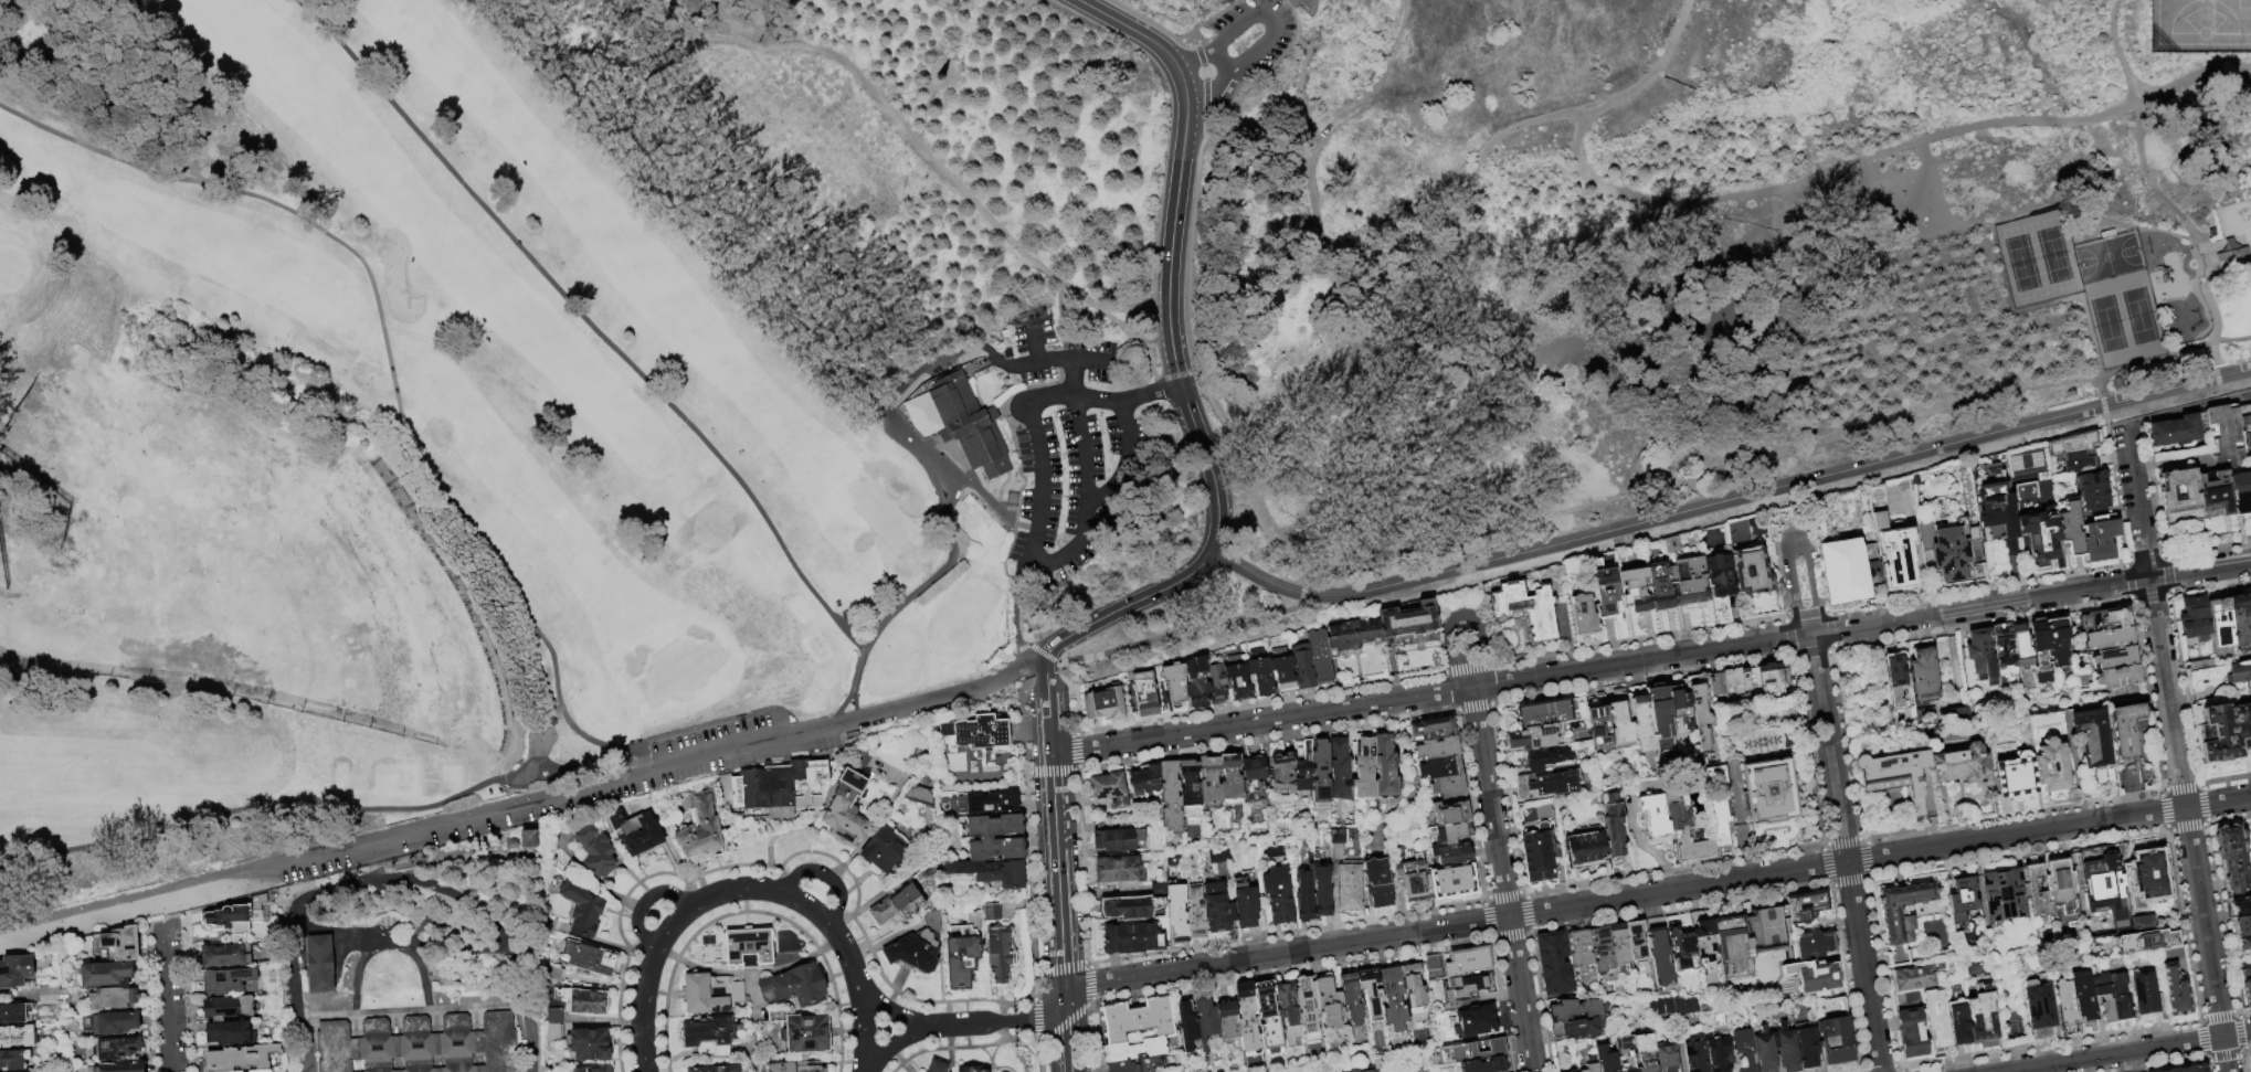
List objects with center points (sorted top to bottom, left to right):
road: (1269, 19)
park: (2200, 26)
road: (1129, 29)
parking lot: (1248, 44)
road: (2115, 51)
road: (1194, 55)
road: (1223, 57)
road: (1383, 65)
road: (1652, 72)
road: (1182, 84)
road: (2192, 84)
road: (1211, 89)
road: (1322, 109)
road: (923, 110)
road: (1308, 120)
road: (911, 136)
park: (2250, 139)
road: (2138, 147)
road: (1828, 170)
road: (1460, 210)
road: (1317, 229)
road: (676, 230)
road: (2170, 234)
road: (807, 235)
building: (2212, 236)
building: (2232, 256)
park: (2038, 258)
park: (2107, 258)
park: (9, 269)
road: (2206, 275)
road: (2074, 298)
road: (1057, 312)
park: (2238, 315)
park: (2124, 317)
road: (584, 321)
road: (1066, 351)
road: (950, 352)
park: (966, 355)
road: (1085, 361)
road: (1037, 362)
road: (1176, 376)
road: (1070, 379)
road: (1155, 386)
road: (2229, 399)
road: (1127, 401)
road: (1051, 404)
road: (1283, 410)
building: (921, 414)
road: (2165, 414)
road: (1219, 415)
building: (2244, 416)
road: (1193, 427)
building: (972, 428)
road: (1124, 429)
building: (2226, 429)
building: (2179, 431)
road: (403, 439)
building: (2071, 445)
building: (2249, 445)
road: (916, 449)
parking lot: (1071, 449)
road: (1777, 449)
park: (392, 450)
road: (1385, 459)
road: (1042, 486)
road: (1117, 488)
building: (2240, 491)
building: (2092, 492)
building: (2215, 492)
building: (2178, 496)
road: (1730, 500)
road: (1091, 502)
building: (1996, 517)
park: (880, 519)
road: (1262, 523)
building: (2067, 526)
building: (1991, 532)
building: (1740, 534)
building: (2038, 535)
building: (2099, 539)
road: (1795, 543)
road: (950, 550)
building: (1944, 551)
building: (1893, 555)
building: (1868, 564)
building: (1753, 572)
building: (1687, 575)
building: (1720, 575)
building: (1840, 575)
road: (1307, 576)
building: (1660, 586)
building: (1636, 590)
building: (1605, 591)
road: (1302, 596)
building: (1526, 608)
road: (1015, 611)
road: (1458, 615)
building: (1584, 616)
building: (2194, 618)
building: (2241, 618)
building: (2220, 619)
building: (2105, 620)
road: (1861, 625)
building: (1409, 626)
road: (479, 633)
road: (1171, 636)
building: (1352, 636)
building: (2110, 639)
building: (2058, 641)
road: (1031, 646)
building: (2021, 649)
building: (2040, 652)
building: (2004, 654)
building: (1981, 656)
building: (1319, 658)
building: (2113, 659)
road: (1046, 660)
building: (2200, 665)
building: (1301, 667)
building: (1281, 671)
building: (2240, 671)
building: (1259, 673)
building: (1924, 676)
building: (1772, 677)
building: (1236, 678)
building: (2116, 678)
building: (1899, 681)
building: (1196, 682)
building: (1173, 683)
building: (1215, 683)
building: (1730, 683)
building: (1143, 694)
building: (2249, 702)
road: (853, 704)
building: (1103, 704)
road: (838, 708)
road: (1047, 710)
building: (1681, 710)
building: (1660, 711)
building: (1552, 713)
building: (1701, 717)
road: (1260, 722)
building: (1600, 729)
building: (1635, 729)
building: (2125, 729)
building: (1431, 730)
building: (2223, 732)
building: (977, 734)
building: (2090, 736)
building: (1535, 737)
building: (1436, 749)
road: (2175, 749)
building: (2049, 754)
building: (1546, 758)
building: (1365, 766)
building: (1961, 766)
building: (1303, 767)
building: (1339, 768)
building: (1439, 768)
road: (647, 769)
building: (1386, 769)
building: (1320, 773)
road: (571, 774)
building: (1894, 775)
building: (2015, 777)
building: (1254, 778)
building: (1283, 778)
building: (2131, 778)
building: (1145, 779)
building: (1229, 779)
building: (1188, 784)
building: (1209, 784)
building: (1549, 785)
building: (1447, 786)
building: (781, 787)
building: (1107, 788)
building: (1768, 792)
building: (1170, 797)
building: (848, 802)
road: (246, 808)
building: (1719, 810)
building: (1447, 814)
building: (1653, 816)
building: (700, 826)
building: (1613, 826)
building: (636, 830)
building: (1449, 834)
building: (1687, 834)
building: (1335, 836)
building: (526, 838)
building: (1015, 838)
building: (1119, 840)
building: (1586, 846)
building: (883, 849)
building: (595, 850)
road: (1845, 852)
building: (1452, 855)
building: (1540, 855)
building: (2232, 860)
building: (1118, 870)
building: (991, 871)
road: (824, 875)
building: (2148, 875)
building: (1414, 880)
road: (1501, 880)
building: (1452, 882)
building: (1377, 883)
building: (1349, 888)
building: (2030, 888)
building: (2060, 888)
road: (735, 890)
building: (1158, 890)
building: (1323, 892)
road: (1656, 893)
building: (1279, 895)
building: (2004, 895)
building: (2100, 895)
building: (1304, 896)
building: (1246, 899)
building: (1962, 899)
road: (123, 900)
road: (744, 901)
road: (644, 902)
building: (897, 904)
road: (161, 905)
road: (806, 905)
building: (2241, 905)
building: (582, 906)
building: (1806, 906)
building: (1130, 908)
building: (992, 912)
building: (1177, 912)
building: (1195, 912)
building: (1218, 912)
road: (750, 913)
road: (1058, 913)
building: (236, 915)
building: (974, 919)
building: (1901, 919)
building: (2142, 924)
road: (672, 925)
building: (2243, 925)
building: (1131, 937)
building: (1703, 937)
building: (237, 940)
building: (1637, 940)
building: (2146, 942)
building: (120, 944)
road: (842, 944)
building: (1620, 944)
building: (1681, 944)
road: (387, 945)
building: (918, 945)
building: (1816, 945)
building: (2244, 945)
road: (828, 946)
building: (748, 948)
building: (1733, 949)
road: (666, 953)
building: (1660, 953)
building: (998, 954)
building: (1603, 954)
building: (961, 955)
building: (223, 956)
building: (1583, 956)
building: (591, 958)
building: (1467, 962)
building: (318, 964)
building: (1554, 964)
building: (15, 970)
building: (2245, 970)
road: (841, 973)
building: (106, 974)
building: (1915, 977)
building: (1816, 978)
building: (226, 981)
building: (1418, 983)
building: (794, 986)
building: (1463, 990)
building: (2175, 991)
building: (696, 993)
building: (723, 993)
building: (1371, 994)
building: (2102, 994)
building: (2143, 994)
building: (2247, 994)
building: (52, 995)
road: (168, 996)
building: (2082, 996)
building: (2118, 997)
building: (113, 998)
building: (1351, 998)
building: (1394, 999)
building: (589, 1000)
building: (1307, 1001)
building: (2064, 1001)
building: (1670, 1005)
road: (883, 1007)
building: (1331, 1007)
road: (642, 1008)
building: (2038, 1008)
building: (228, 1009)
road: (413, 1010)
road: (1051, 1010)
building: (1575, 1010)
building: (14, 1012)
building: (1288, 1013)
building: (553, 1015)
building: (1248, 1017)
building: (1268, 1017)
building: (1980, 1017)
building: (1936, 1019)
road: (863, 1020)
building: (1137, 1020)
building: (1227, 1020)
road: (1025, 1021)
building: (1205, 1021)
building: (110, 1022)
building: (1473, 1022)
building: (1958, 1022)
road: (971, 1025)
building: (1187, 1027)
building: (1579, 1029)
building: (710, 1030)
building: (552, 1031)
building: (807, 1032)
building: (1911, 1033)
building: (231, 1034)
building: (17, 1037)
building: (1837, 1041)
road: (307, 1043)
building: (588, 1043)
road: (894, 1043)
building: (419, 1046)
building: (1807, 1047)
building: (117, 1048)
building: (1745, 1049)
building: (1787, 1049)
building: (1134, 1050)
road: (2127, 1051)
building: (1468, 1052)
building: (1646, 1052)
building: (1765, 1052)
building: (1626, 1053)
building: (1695, 1054)
building: (1719, 1055)
building: (1667, 1057)
building: (13, 1059)
building: (241, 1059)
building: (303, 1059)
building: (1605, 1059)
building: (2250, 1060)
building: (1138, 1064)
building: (1591, 1064)
building: (1484, 1065)
building: (794, 1066)
building: (937, 1066)
building: (115, 1068)
building: (714, 1068)
building: (593, 1069)
building: (971, 1069)
building: (2184, 1069)
building: (261, 1071)
building: (1354, 1071)
building: (1367, 1071)
building: (1573, 1071)

